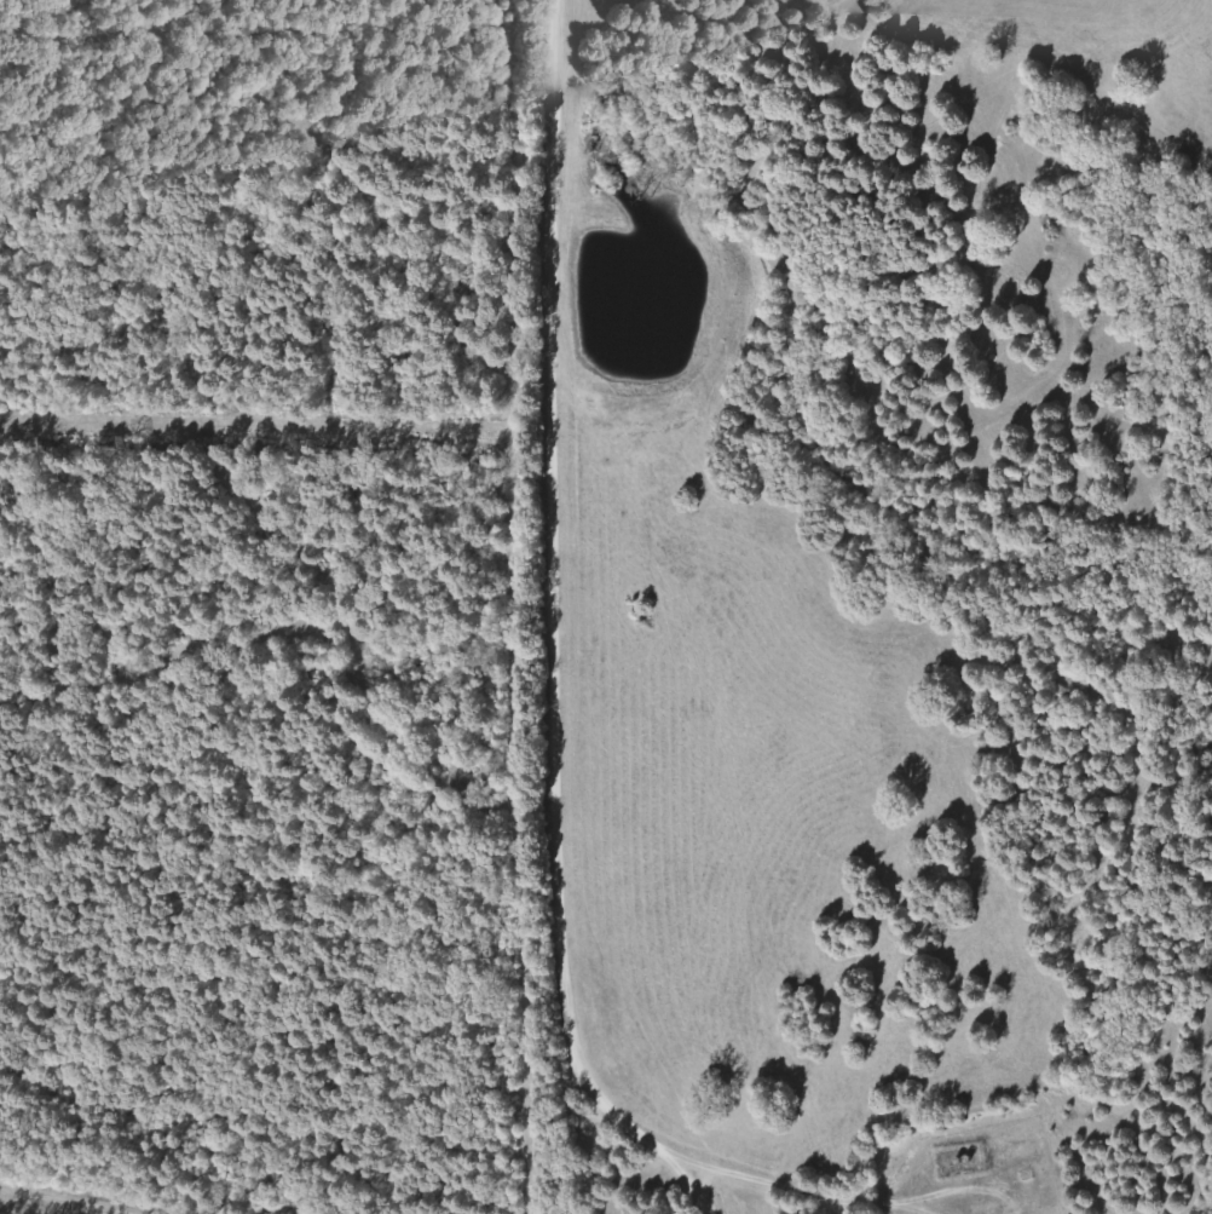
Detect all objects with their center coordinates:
road: (569, 658)

